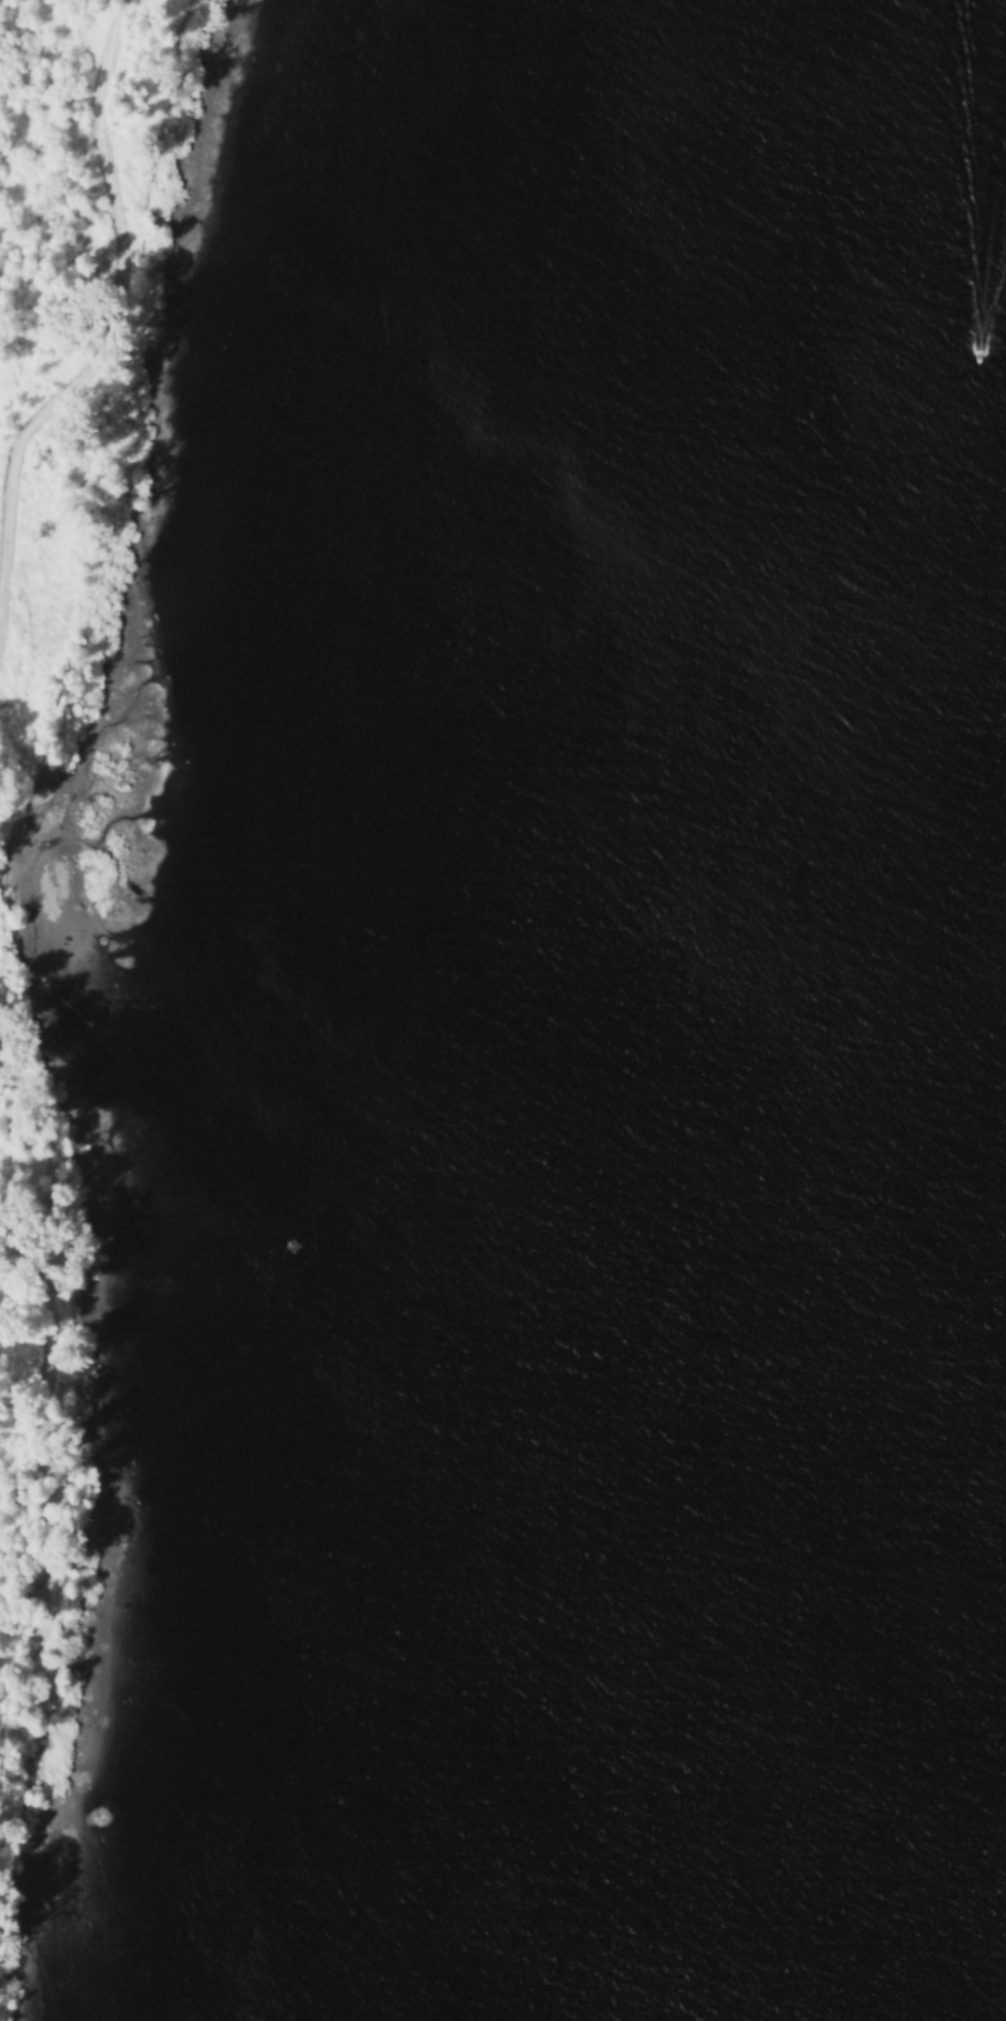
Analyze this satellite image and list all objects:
road: (47, 407)
road: (42, 1384)

